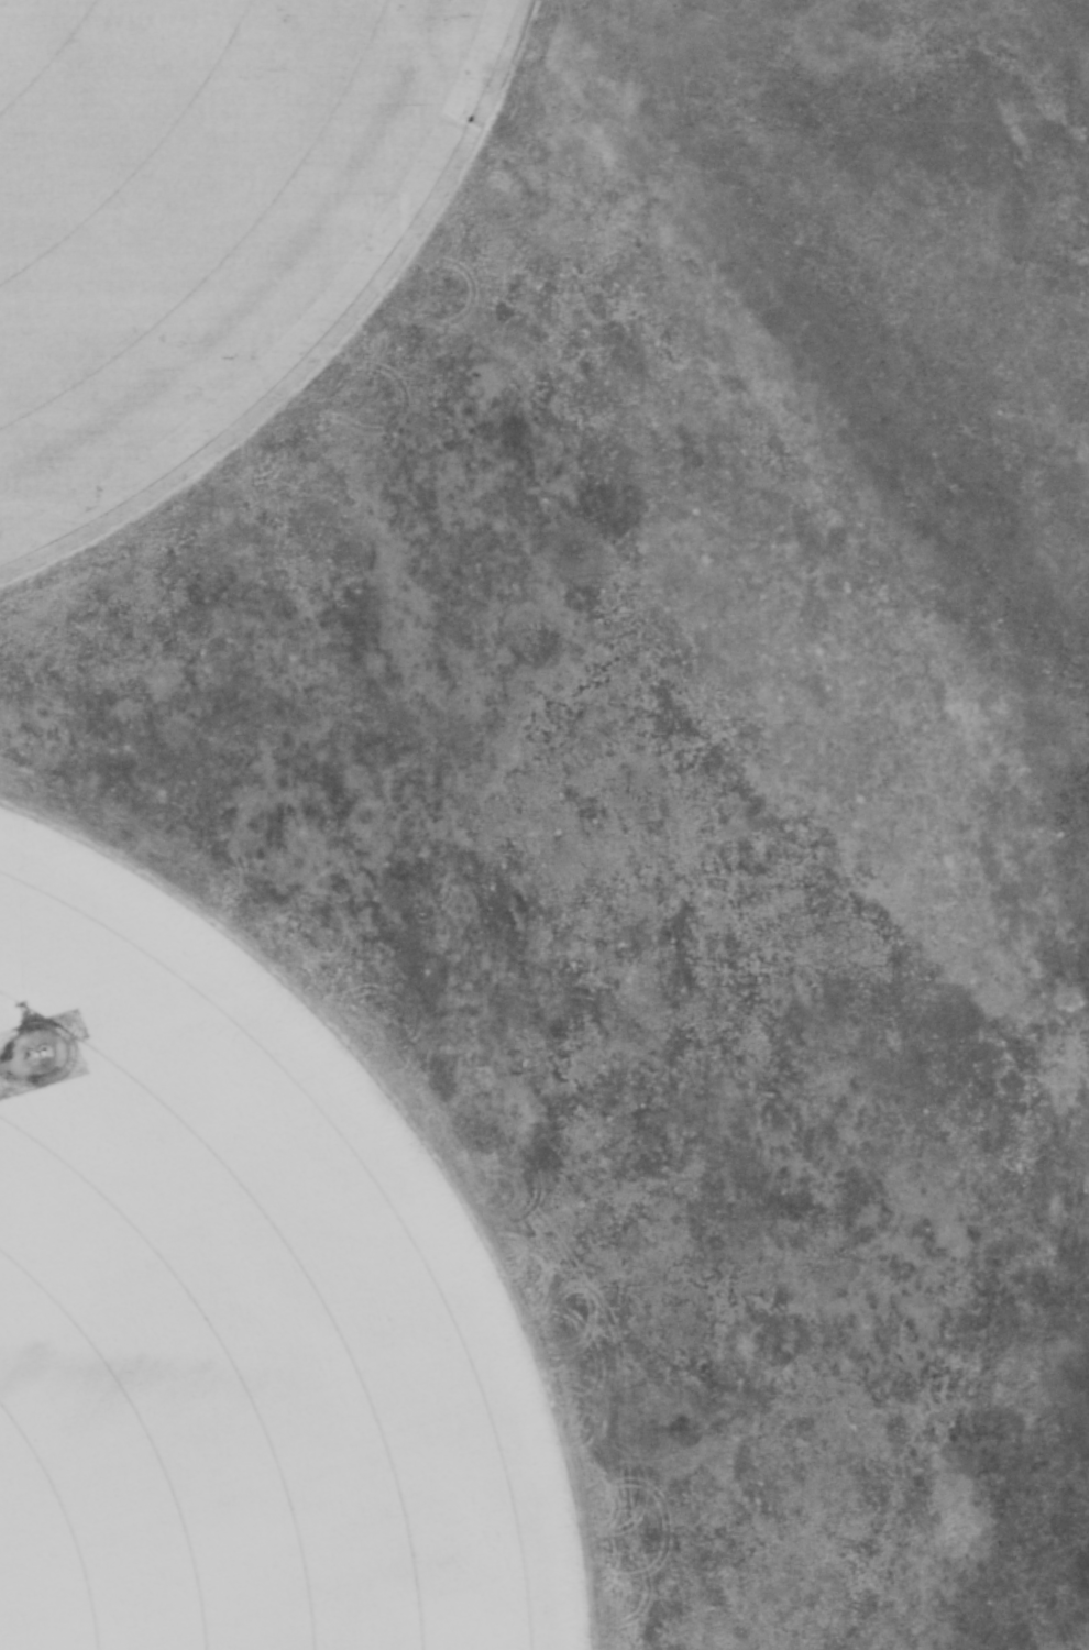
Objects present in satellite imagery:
crop: (196, 211)
crop: (242, 1317)

